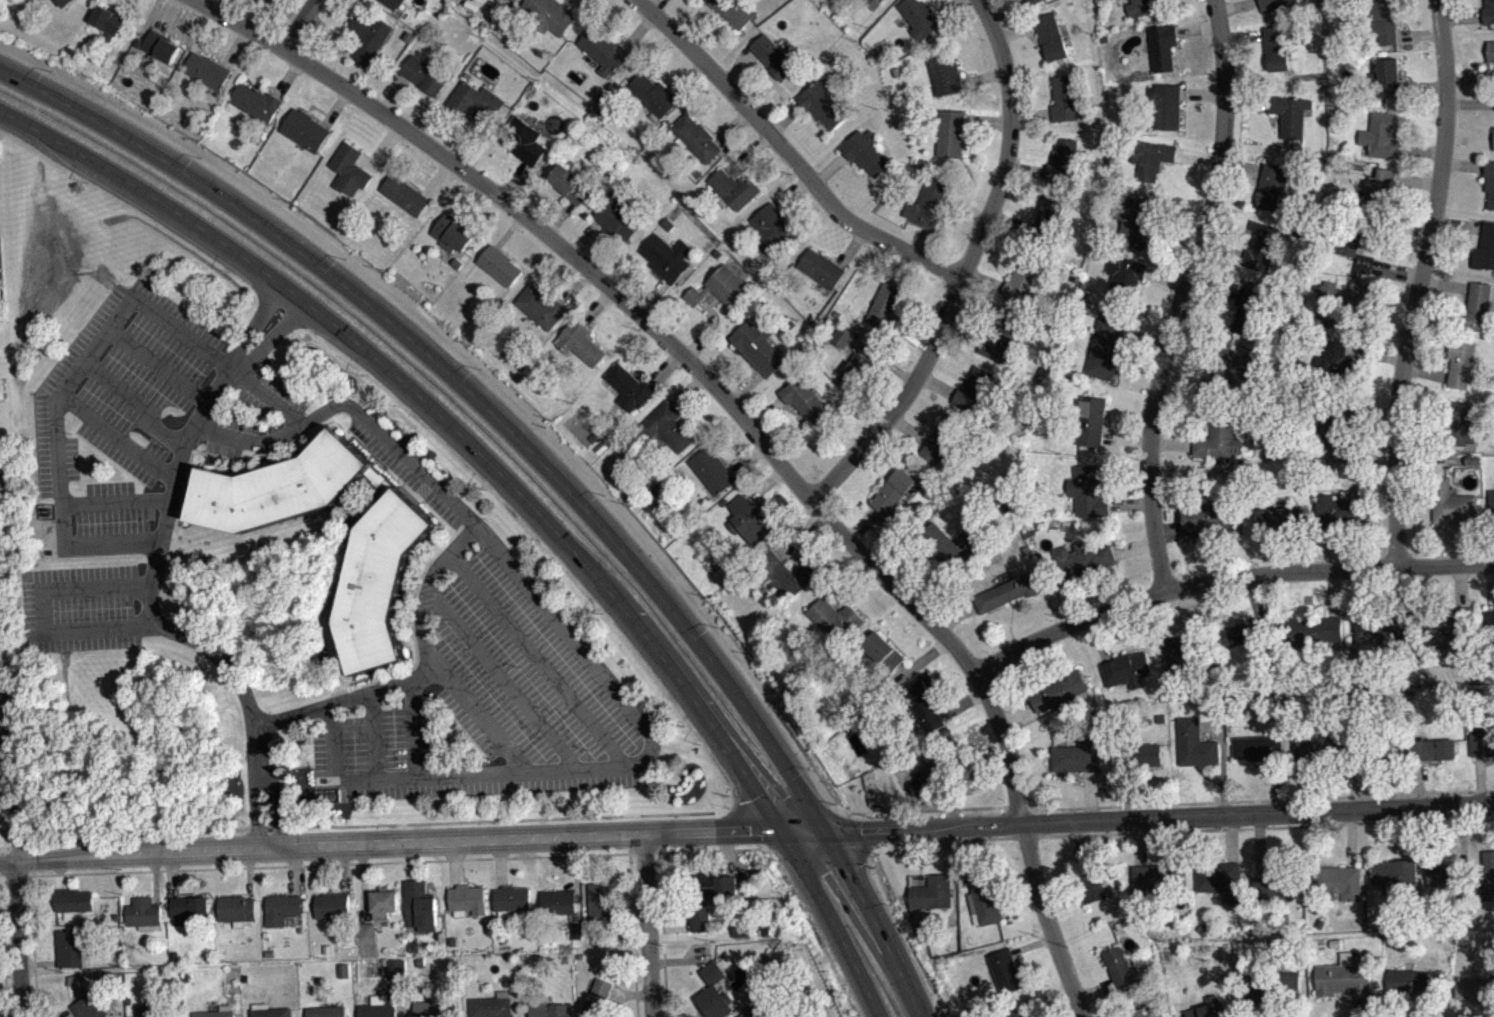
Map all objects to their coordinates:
building: (513, 0)
building: (258, 1)
building: (65, 2)
building: (1032, 2)
building: (392, 3)
building: (873, 3)
building: (1277, 4)
road: (947, 7)
building: (1140, 7)
road: (287, 9)
building: (734, 10)
building: (1488, 12)
road: (167, 15)
building: (550, 15)
building: (920, 17)
building: (109, 18)
road: (693, 19)
building: (1385, 20)
road: (297, 23)
road: (329, 29)
road: (638, 30)
building: (368, 36)
building: (1052, 36)
building: (160, 45)
building: (1163, 45)
road: (235, 46)
building: (1276, 47)
building: (1491, 50)
building: (604, 51)
road: (332, 56)
building: (772, 56)
road: (738, 67)
building: (207, 70)
building: (943, 72)
building: (424, 74)
road: (983, 76)
building: (1388, 76)
road: (288, 77)
road: (688, 77)
road: (393, 94)
building: (653, 94)
building: (1065, 98)
building: (474, 100)
building: (256, 102)
building: (821, 103)
building: (1165, 105)
road: (335, 107)
building: (1290, 113)
road: (784, 119)
road: (987, 122)
road: (733, 127)
building: (305, 129)
building: (949, 132)
building: (1382, 134)
building: (696, 137)
road: (469, 138)
building: (522, 140)
road: (382, 147)
building: (865, 151)
road: (748, 153)
road: (787, 154)
building: (1151, 157)
building: (1063, 162)
road: (829, 168)
building: (350, 169)
road: (436, 177)
road: (513, 179)
building: (1490, 181)
building: (569, 183)
building: (1271, 185)
building: (733, 188)
building: (1381, 189)
building: (404, 193)
road: (793, 193)
road: (464, 197)
building: (927, 203)
building: (617, 215)
building: (1133, 215)
road: (558, 217)
building: (1046, 220)
building: (771, 228)
road: (507, 229)
building: (451, 233)
road: (583, 236)
road: (920, 240)
building: (1261, 245)
road: (851, 247)
building: (1485, 248)
building: (1348, 250)
building: (667, 256)
building: (499, 264)
building: (820, 267)
road: (963, 268)
building: (1366, 271)
building: (1022, 280)
building: (1124, 280)
road: (1418, 281)
road: (574, 285)
building: (720, 287)
building: (1329, 292)
road: (1181, 294)
road: (651, 295)
building: (540, 305)
road: (596, 305)
building: (1360, 305)
building: (883, 307)
building: (1476, 308)
building: (1250, 310)
road: (708, 329)
road: (961, 335)
building: (841, 336)
building: (1000, 336)
road: (911, 337)
building: (580, 342)
building: (844, 343)
building: (758, 346)
building: (1105, 348)
building: (1336, 357)
road: (882, 360)
road: (84, 362)
building: (1237, 362)
building: (1462, 363)
road: (158, 364)
road: (664, 367)
building: (856, 368)
road: (936, 383)
road: (744, 386)
building: (629, 387)
building: (973, 388)
road: (468, 389)
road: (687, 389)
parking lot: (272, 397)
building: (805, 399)
road: (137, 401)
road: (351, 407)
parking lot: (117, 412)
road: (766, 412)
road: (441, 416)
building: (1092, 420)
building: (1338, 424)
building: (1458, 424)
road: (749, 425)
building: (667, 426)
road: (909, 427)
parking lot: (232, 435)
road: (119, 436)
building: (942, 436)
building: (1217, 443)
road: (748, 459)
building: (712, 471)
road: (765, 483)
building: (892, 490)
building: (1089, 491)
building: (1491, 498)
road: (116, 500)
building: (1452, 503)
building: (1339, 512)
building: (1207, 518)
building: (1280, 518)
building: (749, 520)
road: (861, 523)
road: (799, 536)
building: (386, 545)
building: (947, 550)
building: (1084, 557)
building: (785, 575)
road: (152, 576)
road: (1225, 578)
road: (848, 580)
road: (930, 591)
building: (1007, 591)
parking lot: (79, 607)
road: (42, 610)
building: (1491, 617)
building: (835, 618)
building: (1379, 623)
building: (1458, 628)
building: (1314, 630)
building: (1245, 631)
building: (883, 651)
road: (922, 657)
building: (1181, 658)
road: (538, 659)
building: (1127, 668)
road: (422, 673)
road: (502, 677)
parking lot: (491, 682)
building: (1058, 690)
road: (962, 703)
building: (924, 705)
road: (480, 715)
road: (412, 727)
road: (373, 735)
building: (1481, 741)
building: (1195, 743)
building: (1375, 743)
building: (1321, 746)
building: (1258, 747)
building: (1430, 749)
building: (1076, 754)
building: (1139, 754)
building: (940, 765)
road: (604, 767)
road: (6, 783)
road: (949, 799)
road: (1261, 799)
road: (911, 809)
road: (1160, 816)
road: (367, 824)
road: (1267, 826)
traffic signals: (782, 830)
road: (804, 830)
traffic signals: (827, 830)
road: (1012, 835)
road: (947, 839)
road: (390, 841)
road: (16, 843)
road: (825, 844)
road: (17, 845)
road: (5, 846)
road: (713, 848)
road: (1, 849)
road: (643, 851)
road: (725, 853)
road: (33, 858)
road: (411, 860)
road: (924, 860)
road: (1, 862)
road: (499, 862)
road: (329, 863)
road: (452, 863)
road: (342, 868)
building: (1489, 869)
road: (293, 870)
building: (1393, 871)
road: (248, 872)
road: (59, 873)
road: (172, 873)
building: (1444, 873)
road: (154, 876)
road: (14, 878)
road: (575, 878)
building: (1155, 878)
building: (1222, 880)
building: (1275, 880)
building: (1342, 881)
road: (362, 883)
building: (1090, 883)
building: (711, 884)
road: (954, 890)
building: (932, 892)
building: (467, 898)
building: (511, 898)
building: (983, 898)
building: (73, 899)
building: (601, 900)
building: (558, 901)
building: (383, 902)
building: (331, 905)
building: (419, 906)
road: (7, 907)
building: (187, 908)
building: (235, 908)
building: (280, 908)
road: (629, 908)
building: (143, 911)
building: (700, 917)
road: (879, 921)
road: (834, 922)
road: (646, 925)
building: (741, 927)
building: (575, 930)
building: (366, 932)
road: (632, 934)
road: (661, 934)
road: (689, 934)
building: (742, 935)
building: (577, 937)
road: (3, 944)
road: (33, 946)
building: (414, 946)
building: (70, 947)
road: (678, 959)
road: (38, 966)
building: (1119, 966)
building: (396, 968)
building: (344, 969)
building: (1005, 969)
building: (345, 977)
building: (1343, 978)
building: (1407, 981)
road: (9, 987)
building: (1258, 987)
building: (1293, 988)
building: (1475, 990)
building: (713, 992)
road: (629, 994)
building: (598, 998)
road: (615, 1002)
building: (93, 1006)
building: (490, 1006)
building: (546, 1008)
building: (1210, 1008)
building: (158, 1009)
building: (379, 1009)
building: (435, 1009)
building: (325, 1011)
building: (1022, 1011)
building: (270, 1012)
building: (1138, 1012)
building: (214, 1013)
building: (748, 1013)

